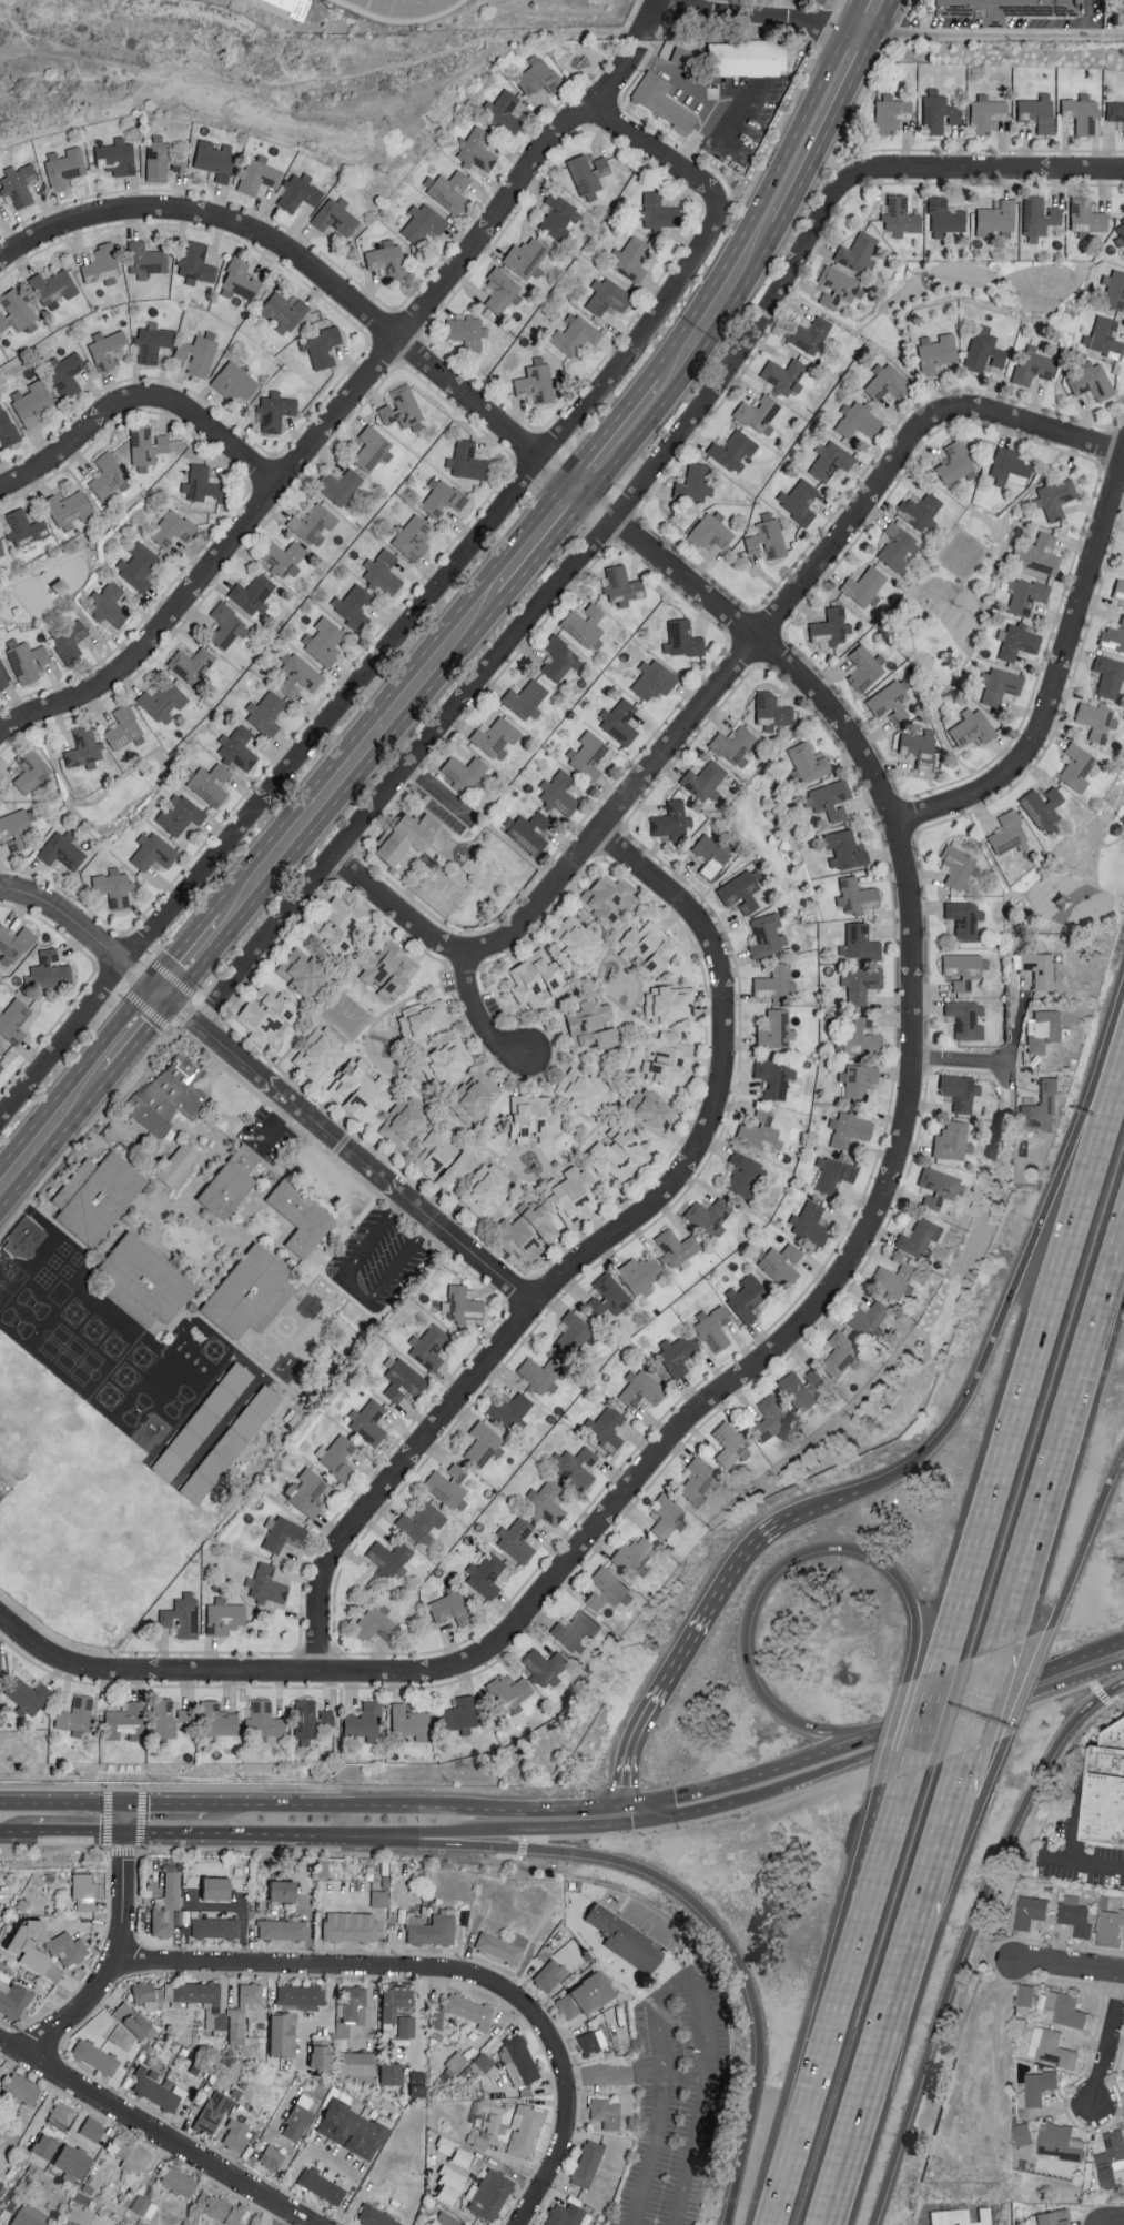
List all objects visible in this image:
building: (599, 0)
building: (796, 0)
building: (816, 1)
building: (434, 4)
building: (285, 6)
building: (1007, 8)
building: (1121, 12)
road: (652, 16)
road: (769, 17)
road: (1090, 17)
road: (869, 19)
road: (994, 34)
building: (680, 54)
building: (747, 57)
building: (537, 75)
building: (664, 101)
road: (705, 109)
building: (1115, 110)
building: (503, 111)
building: (938, 111)
building: (1037, 111)
building: (890, 112)
building: (985, 112)
building: (1082, 112)
road: (813, 129)
building: (475, 150)
building: (117, 155)
road: (657, 155)
building: (159, 157)
building: (214, 158)
building: (64, 165)
building: (588, 173)
road: (978, 173)
building: (259, 174)
building: (19, 183)
building: (447, 189)
building: (298, 192)
road: (730, 204)
building: (658, 211)
building: (557, 214)
building: (900, 215)
building: (335, 217)
building: (1039, 217)
building: (1086, 217)
building: (945, 218)
building: (996, 220)
building: (424, 223)
building: (1118, 232)
building: (858, 252)
building: (526, 255)
road: (296, 258)
building: (387, 258)
building: (145, 259)
building: (631, 259)
building: (102, 263)
building: (196, 263)
road: (979, 268)
building: (240, 280)
building: (54, 288)
building: (502, 290)
building: (1114, 290)
building: (608, 295)
park: (976, 299)
road: (717, 303)
building: (17, 310)
building: (283, 311)
road: (1042, 322)
building: (466, 331)
road: (900, 332)
building: (575, 333)
building: (811, 335)
building: (1103, 336)
building: (153, 341)
building: (321, 346)
building: (108, 348)
building: (984, 350)
building: (935, 352)
building: (198, 354)
building: (1033, 365)
road: (909, 368)
building: (65, 373)
building: (784, 375)
building: (537, 381)
building: (1091, 381)
building: (235, 382)
building: (885, 382)
building: (32, 402)
road: (140, 402)
building: (402, 407)
building: (275, 411)
building: (758, 412)
road: (340, 415)
building: (859, 421)
building: (7, 426)
road: (621, 439)
building: (732, 450)
building: (467, 461)
building: (830, 461)
building: (956, 462)
building: (1010, 467)
building: (108, 475)
road: (561, 477)
building: (695, 483)
building: (202, 484)
building: (340, 485)
building: (442, 496)
building: (1056, 497)
building: (799, 500)
building: (70, 509)
building: (920, 510)
building: (313, 522)
road: (108, 523)
building: (26, 526)
building: (710, 531)
building: (414, 536)
building: (767, 536)
road: (538, 543)
road: (949, 543)
building: (897, 546)
building: (1, 547)
building: (1037, 553)
building: (282, 556)
building: (139, 565)
road: (979, 566)
road: (932, 570)
building: (383, 571)
park: (54, 580)
building: (622, 585)
building: (863, 585)
building: (1118, 588)
road: (436, 592)
building: (253, 593)
building: (1025, 594)
park: (951, 601)
road: (913, 603)
building: (109, 604)
building: (353, 604)
road: (74, 605)
road: (982, 618)
road: (536, 623)
building: (584, 623)
building: (227, 625)
building: (830, 626)
building: (1113, 636)
building: (682, 638)
building: (323, 640)
building: (1017, 640)
building: (70, 642)
building: (27, 658)
building: (558, 658)
building: (190, 664)
building: (863, 667)
building: (298, 674)
building: (1108, 675)
building: (654, 679)
building: (2, 681)
building: (1000, 684)
road: (722, 686)
road: (1057, 687)
building: (525, 698)
building: (163, 699)
building: (891, 701)
building: (771, 711)
building: (265, 712)
building: (1095, 719)
building: (619, 721)
building: (123, 727)
building: (972, 728)
building: (496, 737)
building: (733, 743)
building: (239, 747)
building: (919, 747)
building: (84, 748)
road: (361, 756)
building: (807, 763)
building: (1077, 767)
building: (31, 769)
building: (464, 773)
road: (763, 773)
building: (705, 778)
building: (210, 784)
building: (560, 793)
road: (442, 794)
building: (829, 799)
road: (129, 806)
building: (1043, 807)
building: (180, 815)
building: (671, 820)
building: (17, 828)
building: (529, 830)
building: (1009, 833)
building: (411, 837)
building: (844, 849)
building: (62, 850)
building: (153, 850)
building: (711, 855)
road: (740, 862)
building: (958, 865)
road: (1044, 878)
building: (113, 887)
building: (741, 890)
building: (855, 895)
building: (608, 899)
building: (964, 918)
road: (69, 919)
building: (341, 924)
building: (768, 936)
building: (578, 940)
building: (859, 942)
building: (13, 944)
building: (649, 946)
road: (193, 958)
building: (1040, 968)
building: (389, 969)
building: (962, 969)
building: (49, 971)
building: (304, 973)
building: (536, 978)
road: (144, 983)
building: (776, 983)
building: (861, 983)
traffic signals: (161, 997)
building: (669, 1003)
road: (181, 1013)
building: (266, 1015)
road: (479, 1016)
building: (424, 1019)
building: (965, 1019)
building: (13, 1020)
building: (591, 1027)
building: (776, 1029)
building: (1044, 1029)
road: (131, 1033)
building: (863, 1037)
road: (63, 1043)
building: (318, 1053)
building: (668, 1059)
road: (961, 1061)
building: (447, 1063)
building: (1, 1067)
building: (774, 1078)
building: (859, 1079)
building: (358, 1089)
building: (587, 1091)
building: (960, 1091)
building: (173, 1093)
building: (475, 1097)
building: (1043, 1107)
building: (534, 1118)
building: (404, 1121)
road: (51, 1129)
building: (850, 1129)
building: (761, 1131)
building: (951, 1140)
building: (435, 1151)
building: (618, 1155)
building: (176, 1165)
road: (367, 1168)
building: (458, 1169)
building: (833, 1172)
building: (745, 1175)
building: (233, 1180)
building: (939, 1187)
building: (486, 1189)
building: (98, 1195)
building: (575, 1195)
building: (709, 1216)
building: (302, 1219)
building: (810, 1222)
building: (527, 1232)
building: (26, 1237)
building: (921, 1238)
building: (678, 1247)
road: (990, 1247)
road: (595, 1252)
parking lot: (378, 1262)
building: (782, 1263)
road: (1021, 1267)
building: (640, 1273)
building: (895, 1279)
building: (145, 1281)
road: (355, 1290)
building: (253, 1295)
building: (608, 1296)
building: (746, 1297)
building: (460, 1305)
road: (812, 1315)
building: (870, 1319)
building: (713, 1328)
building: (574, 1336)
building: (428, 1346)
road: (1033, 1351)
building: (840, 1352)
building: (678, 1355)
road: (932, 1363)
building: (540, 1375)
building: (403, 1380)
building: (641, 1388)
building: (803, 1389)
building: (510, 1410)
road: (915, 1416)
building: (769, 1418)
building: (204, 1421)
building: (368, 1421)
building: (606, 1428)
building: (483, 1443)
road: (1064, 1444)
building: (232, 1446)
building: (731, 1447)
building: (337, 1457)
building: (575, 1466)
building: (698, 1482)
building: (447, 1486)
building: (306, 1491)
road: (833, 1501)
building: (548, 1503)
building: (668, 1517)
road: (784, 1520)
building: (421, 1521)
building: (283, 1533)
building: (517, 1539)
road: (1088, 1549)
building: (635, 1556)
building: (388, 1557)
road: (736, 1565)
building: (487, 1573)
road: (783, 1574)
building: (265, 1584)
building: (607, 1588)
building: (450, 1605)
building: (182, 1614)
building: (224, 1615)
building: (375, 1623)
building: (577, 1630)
building: (0, 1659)
building: (545, 1665)
road: (1105, 1672)
road: (996, 1689)
road: (1094, 1689)
building: (509, 1691)
road: (1029, 1691)
road: (1112, 1691)
building: (27, 1693)
road: (991, 1697)
road: (651, 1705)
building: (77, 1714)
building: (459, 1714)
building: (168, 1716)
building: (311, 1718)
building: (124, 1719)
building: (217, 1719)
building: (264, 1719)
road: (926, 1719)
building: (366, 1721)
building: (409, 1721)
road: (910, 1726)
road: (950, 1728)
road: (969, 1768)
road: (260, 1773)
road: (747, 1778)
road: (67, 1788)
building: (1112, 1790)
road: (757, 1793)
road: (60, 1803)
traffic signals: (148, 1804)
road: (163, 1804)
traffic signals: (622, 1805)
road: (414, 1806)
road: (897, 1806)
road: (629, 1814)
road: (668, 1816)
road: (121, 1819)
road: (968, 1819)
traffic signals: (636, 1824)
road: (1074, 1828)
road: (578, 1830)
road: (14, 1832)
road: (74, 1833)
traffic signals: (98, 1834)
road: (227, 1834)
road: (485, 1836)
road: (393, 1838)
road: (949, 1839)
road: (484, 1843)
road: (243, 1849)
road: (52, 1852)
road: (122, 1852)
traffic signals: (121, 1860)
road: (1083, 1861)
building: (217, 1887)
building: (83, 1890)
building: (283, 1890)
road: (119, 1896)
building: (379, 1896)
building: (170, 1909)
building: (1032, 1910)
building: (1077, 1914)
building: (1112, 1924)
building: (350, 1925)
building: (214, 1927)
building: (282, 1929)
building: (432, 1929)
building: (624, 1940)
building: (500, 1946)
building: (34, 1947)
building: (68, 1947)
road: (971, 1953)
road: (301, 1965)
road: (739, 1965)
road: (1071, 1969)
building: (549, 1974)
road: (682, 1979)
building: (192, 1991)
building: (1026, 1994)
building: (149, 1995)
building: (302, 1995)
building: (585, 1995)
road: (842, 1997)
building: (13, 1999)
building: (395, 2001)
building: (354, 2004)
building: (1066, 2007)
building: (470, 2010)
building: (242, 2011)
building: (220, 2020)
building: (134, 2021)
building: (406, 2025)
building: (283, 2034)
building: (593, 2041)
building: (1052, 2047)
road: (1110, 2051)
building: (321, 2053)
building: (95, 2056)
road: (878, 2056)
building: (456, 2061)
building: (484, 2061)
building: (518, 2061)
building: (358, 2062)
building: (392, 2072)
road: (612, 2075)
road: (680, 2075)
building: (418, 2083)
building: (23, 2087)
building: (155, 2090)
building: (1036, 2091)
parking lot: (675, 2102)
road: (43, 2107)
building: (212, 2112)
building: (606, 2112)
building: (61, 2114)
building: (298, 2118)
building: (493, 2123)
building: (93, 2127)
building: (353, 2128)
building: (524, 2130)
road: (160, 2132)
building: (1024, 2133)
building: (237, 2136)
building: (1061, 2141)
building: (45, 2145)
road: (654, 2150)
building: (1112, 2151)
road: (690, 2152)
building: (132, 2155)
road: (560, 2155)
building: (272, 2157)
road: (332, 2157)
building: (73, 2162)
building: (587, 2163)
building: (180, 2181)
building: (322, 2185)
building: (2, 2188)
building: (488, 2195)
building: (144, 2205)
building: (224, 2211)
building: (565, 2214)
building: (31, 2215)
building: (376, 2216)
building: (960, 2216)
building: (1054, 2217)
building: (447, 2218)
road: (1115, 2221)
building: (67, 2222)
building: (185, 2223)

